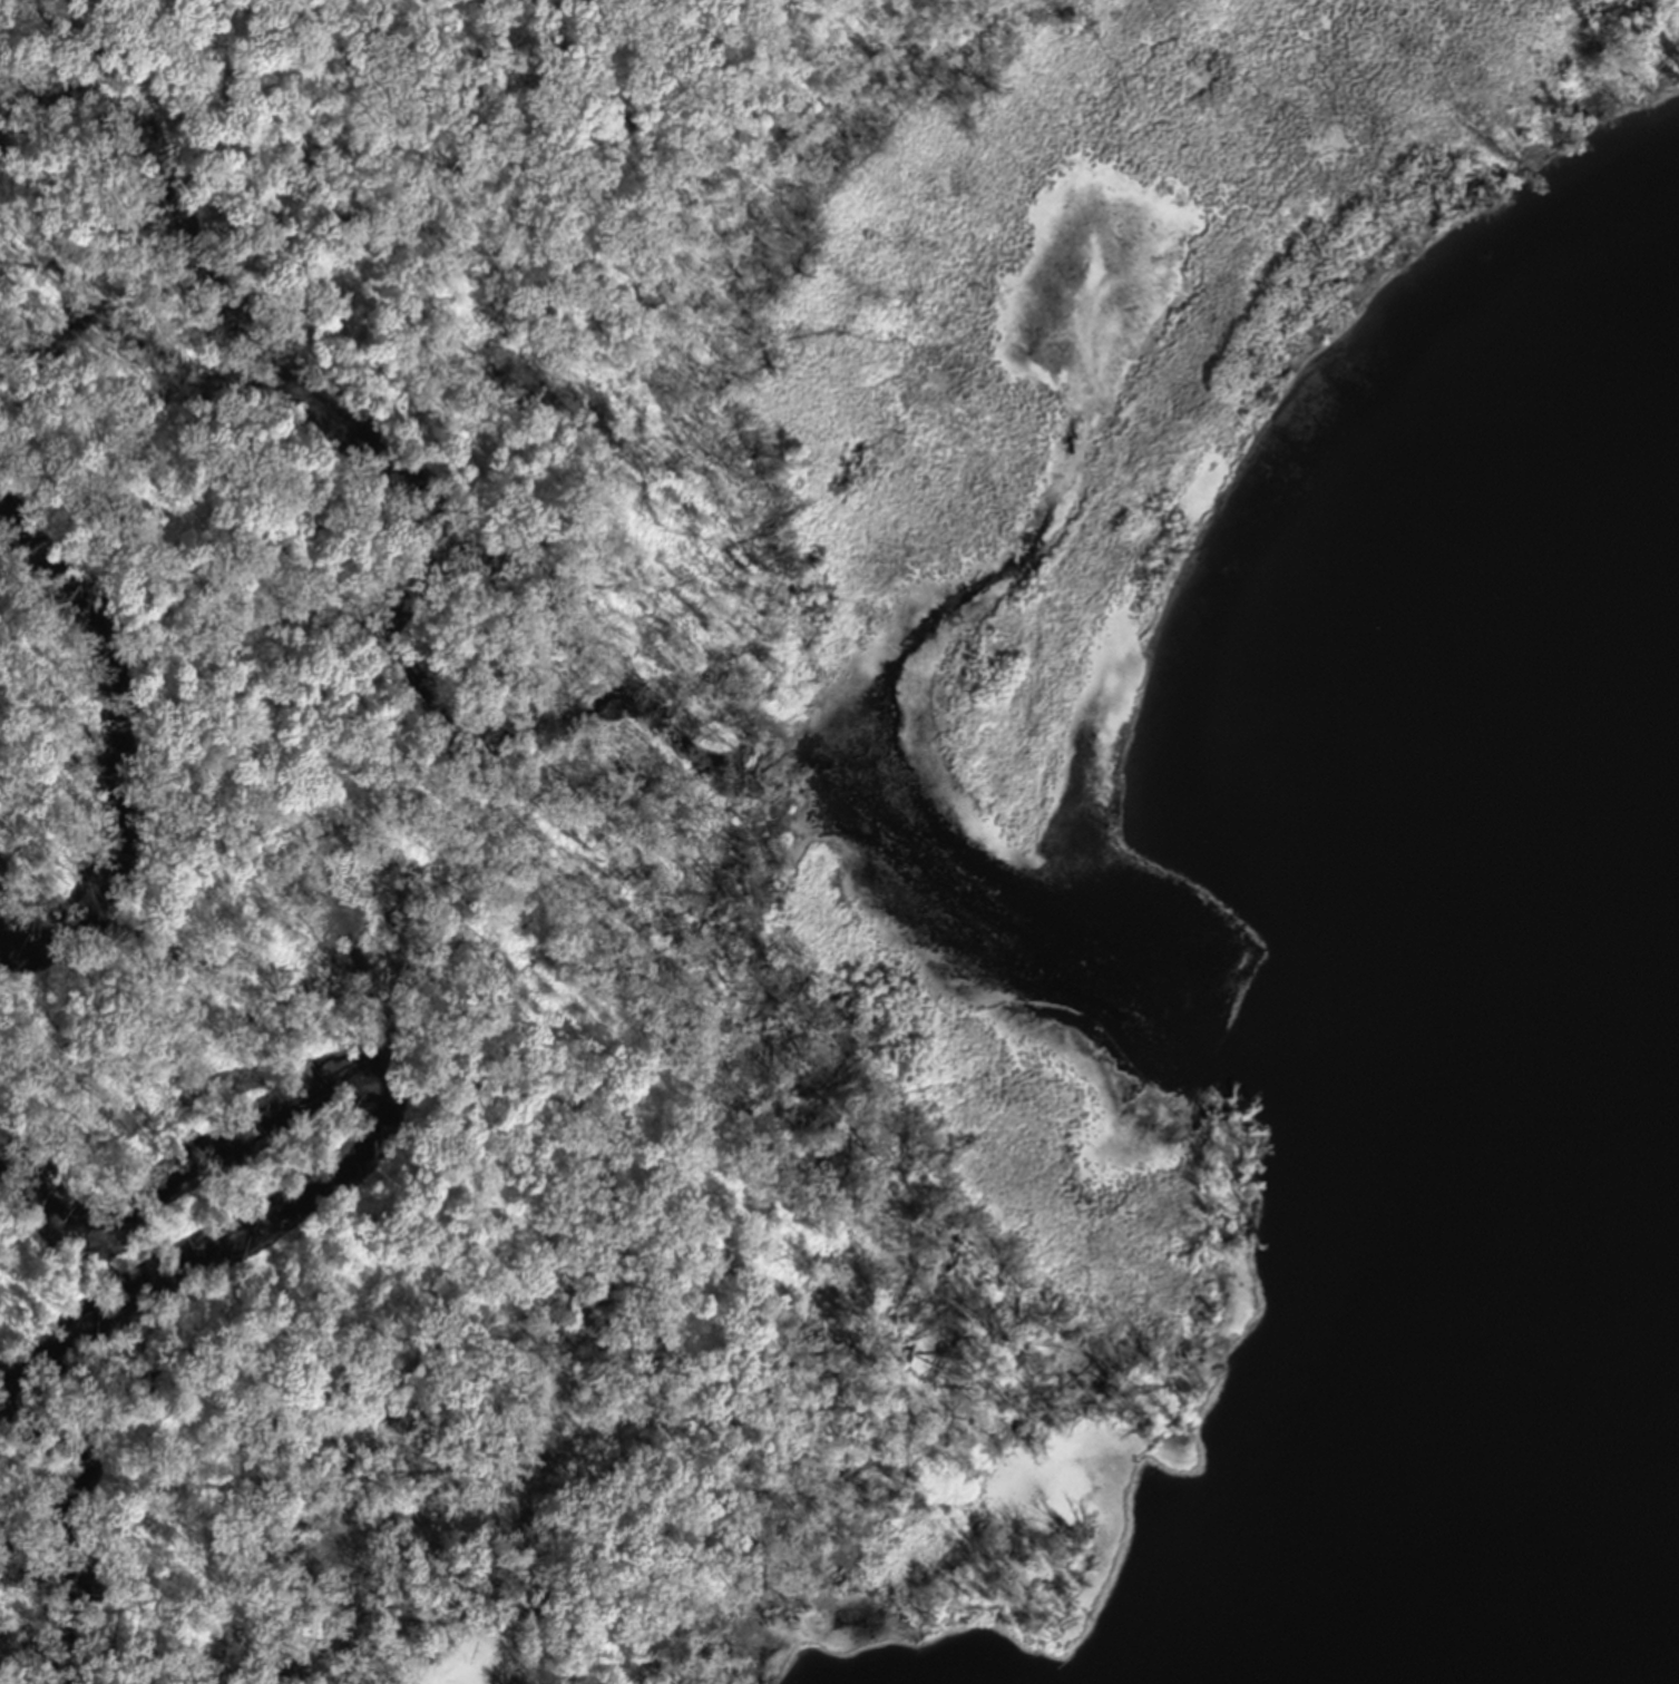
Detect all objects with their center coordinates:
river: (105, 701)
river: (343, 1165)

